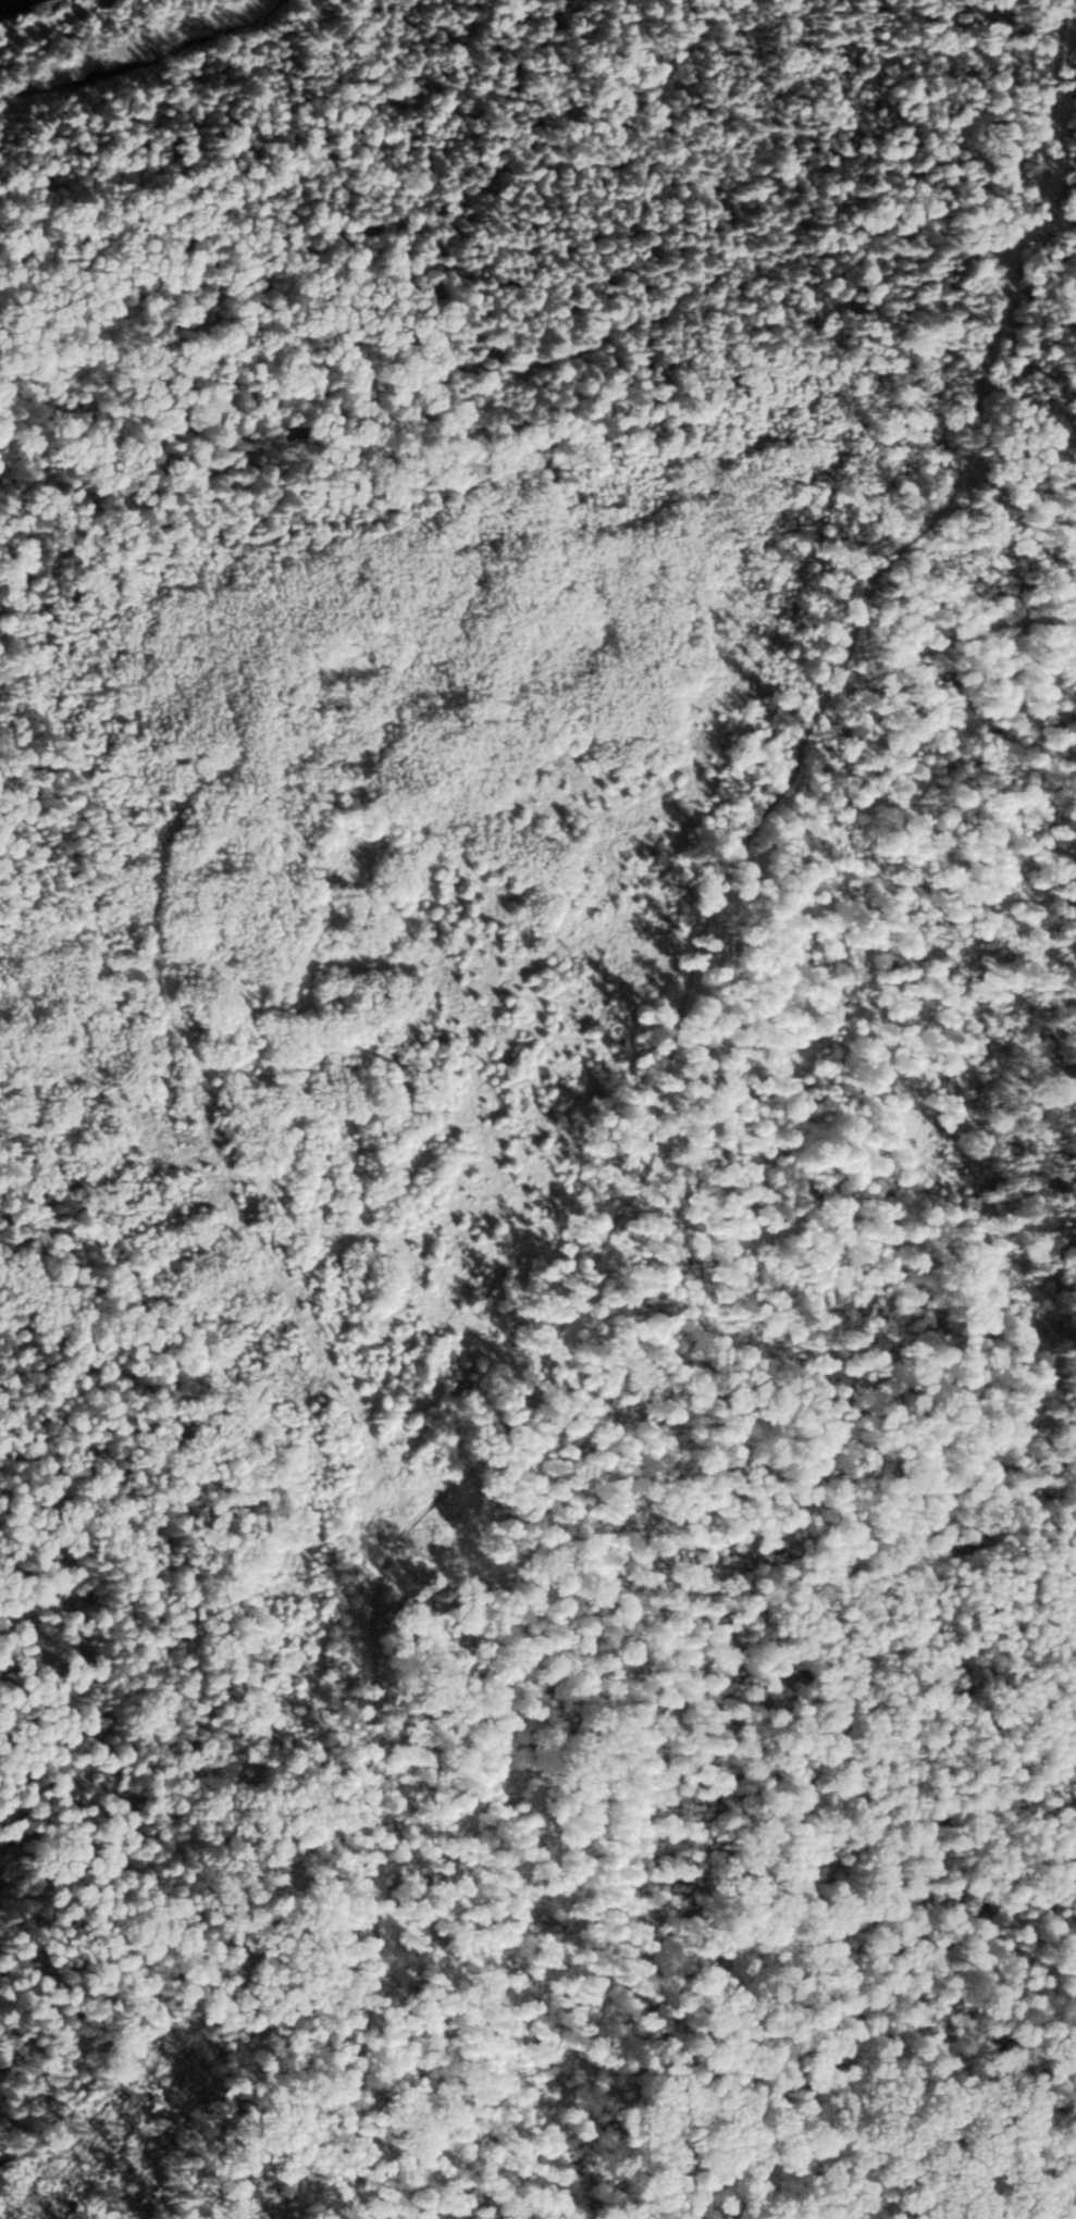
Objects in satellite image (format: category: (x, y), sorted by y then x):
road: (64, 33)

